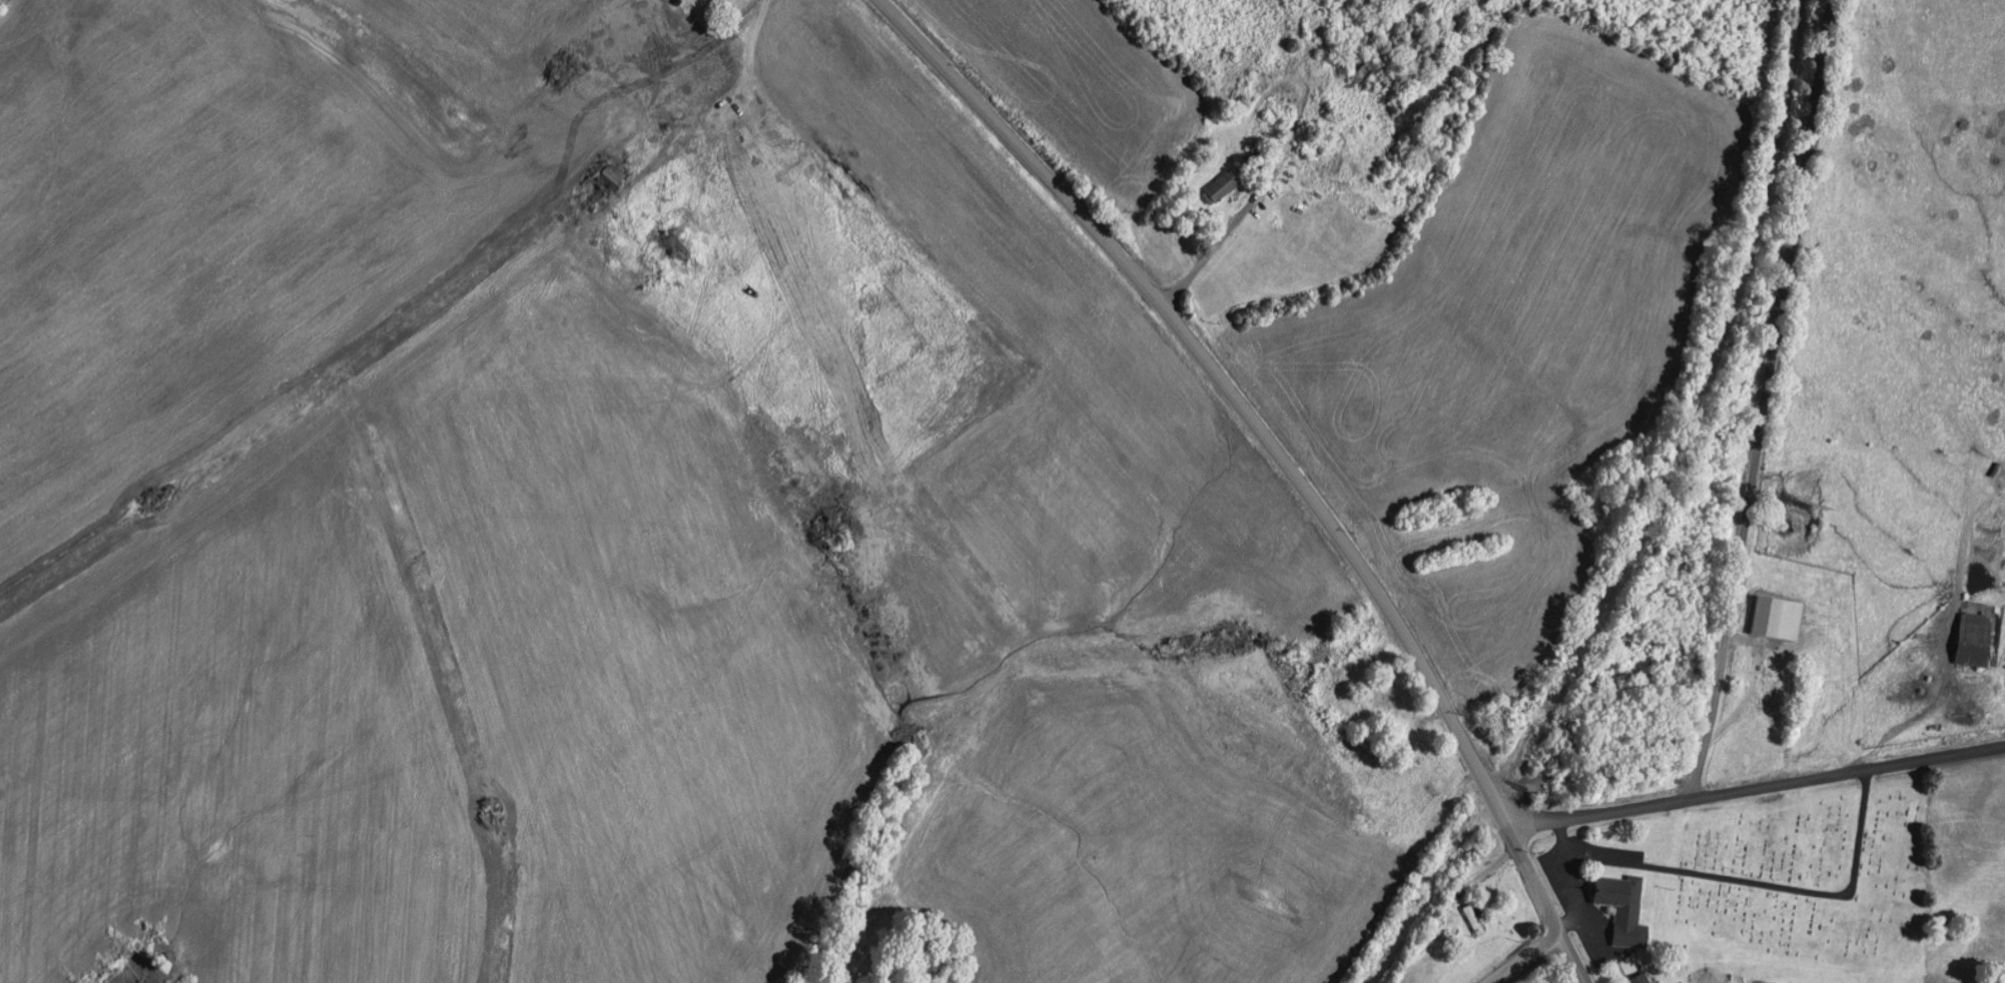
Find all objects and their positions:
building: (604, 184)
building: (1225, 187)
building: (683, 226)
road: (1768, 399)
road: (1279, 457)
crop: (767, 493)
building: (1765, 618)
building: (1971, 641)
road: (1755, 787)
park: (1809, 872)
building: (1622, 910)
building: (1473, 923)
road: (1527, 958)
building: (1638, 979)

